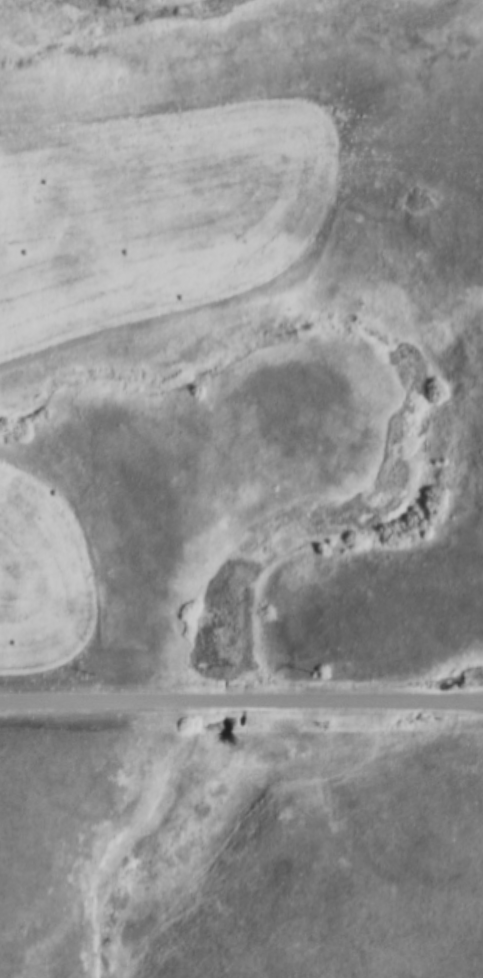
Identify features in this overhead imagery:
road: (241, 700)

